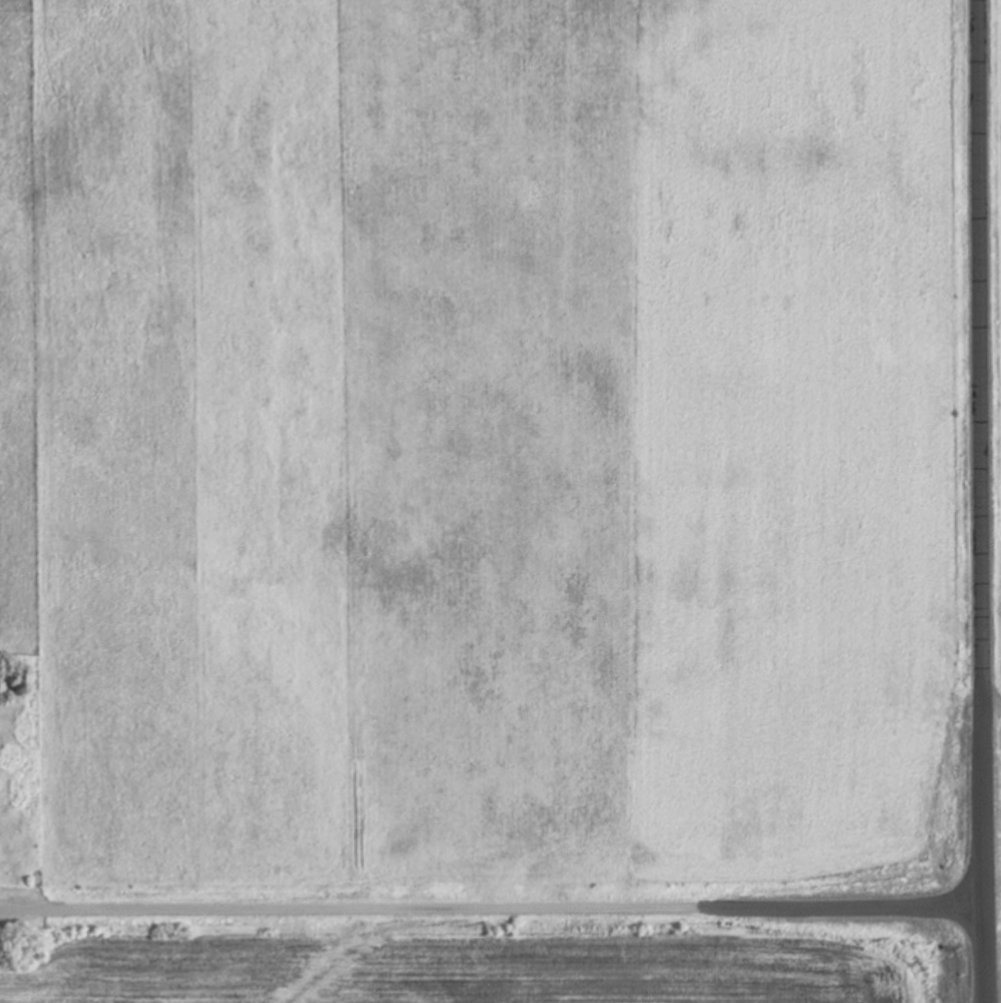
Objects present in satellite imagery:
crop: (995, 431)
crop: (492, 448)
road: (983, 501)
road: (492, 907)
crop: (502, 958)

